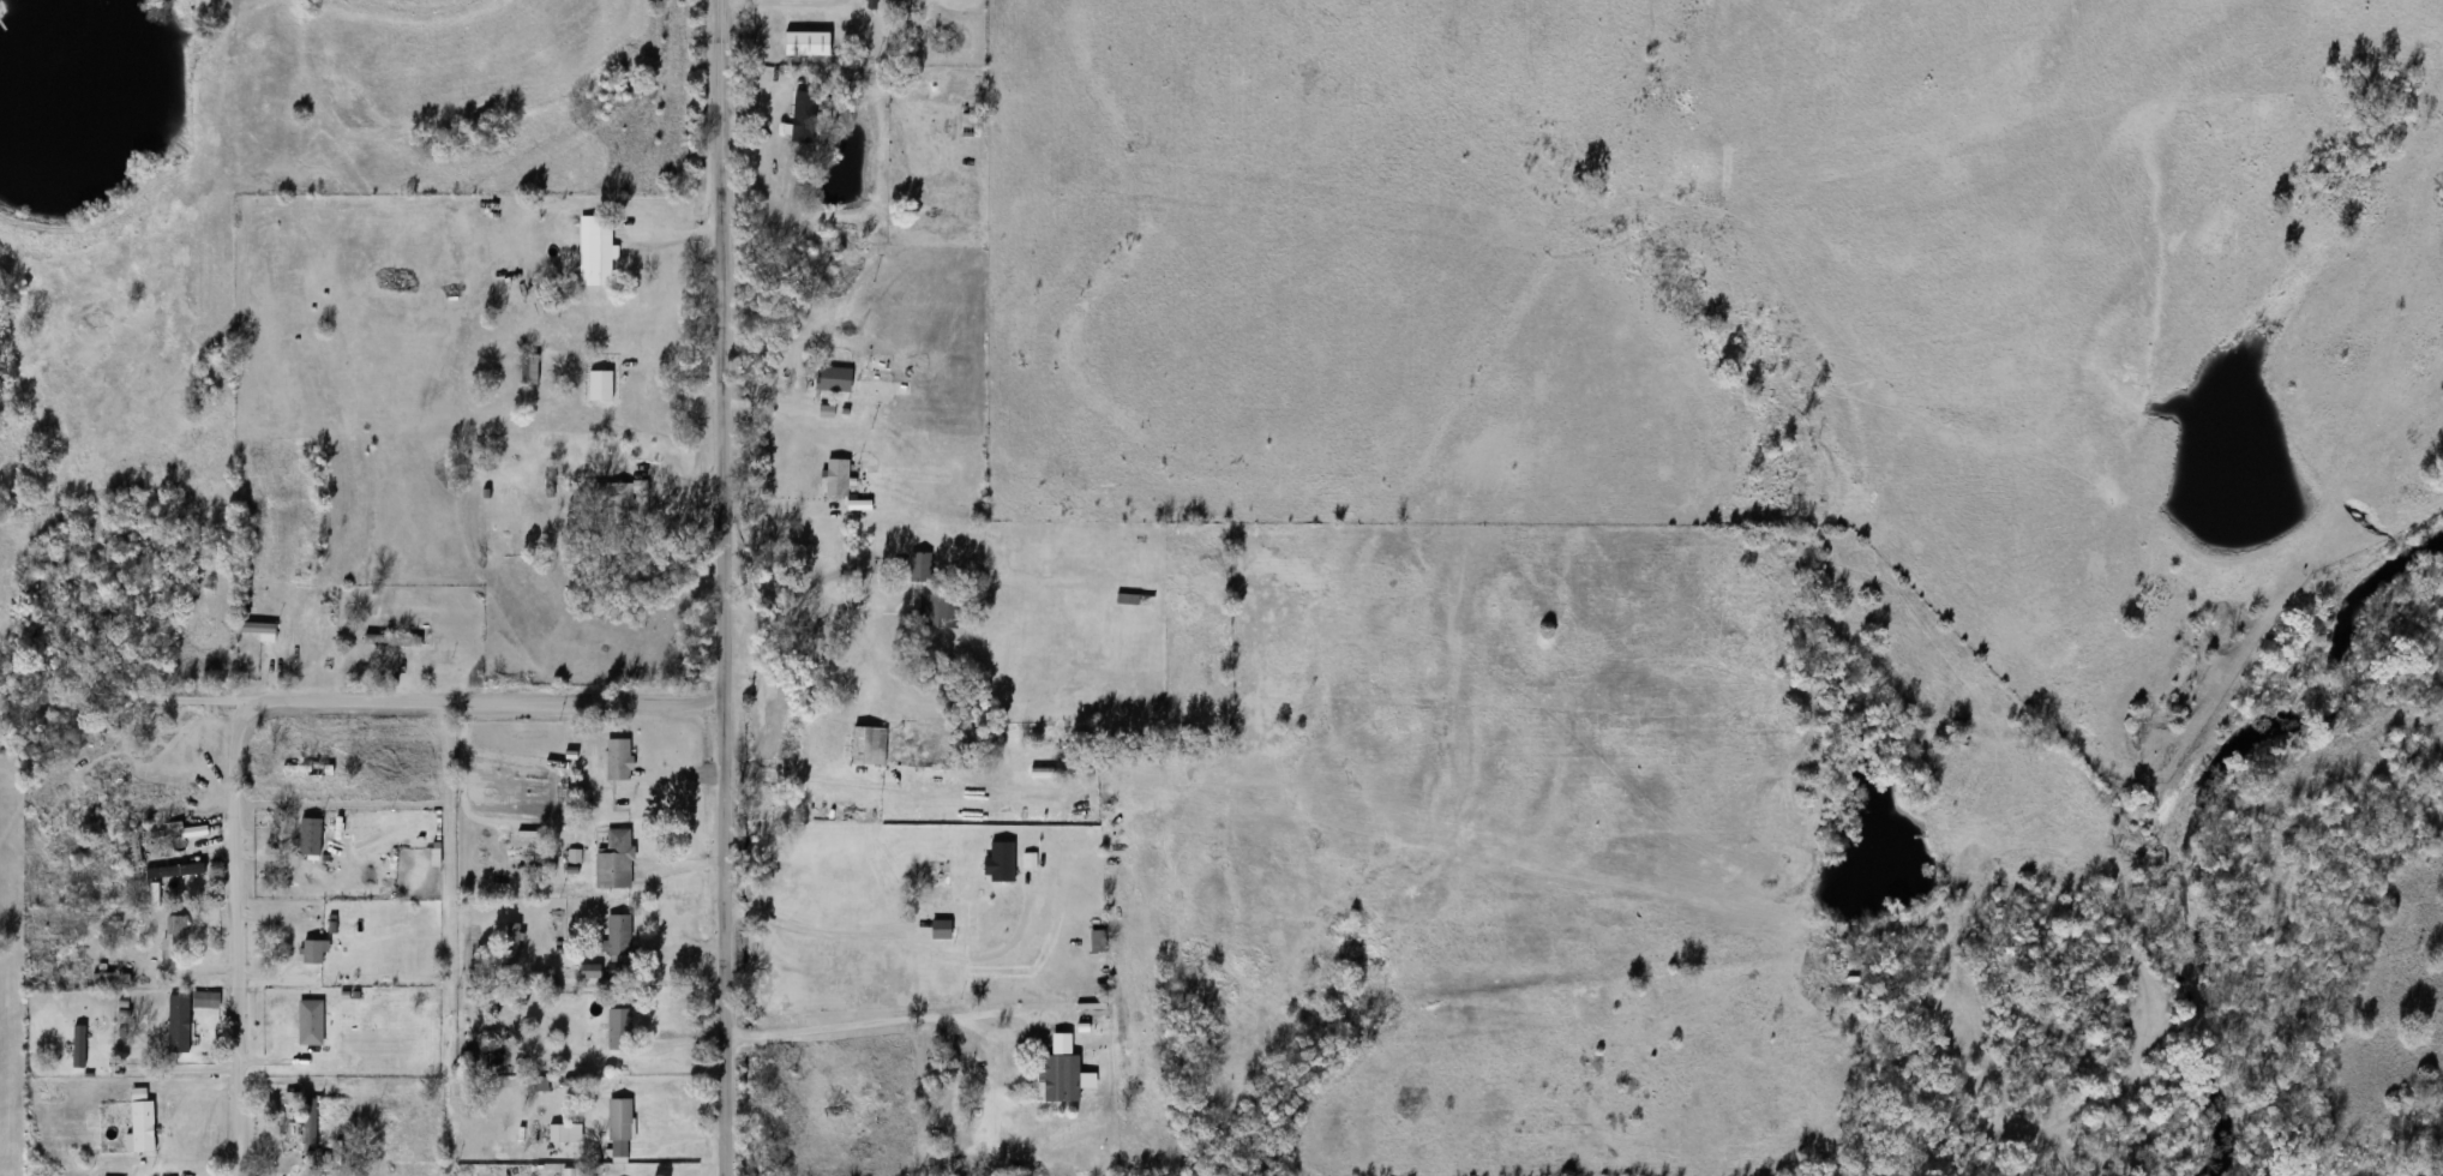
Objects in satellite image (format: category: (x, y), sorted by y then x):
road: (792, 6)
building: (805, 118)
building: (971, 126)
building: (601, 259)
building: (529, 367)
building: (834, 379)
building: (838, 478)
building: (614, 502)
building: (920, 568)
road: (724, 588)
building: (1133, 599)
building: (930, 610)
building: (260, 630)
building: (392, 641)
road: (484, 697)
road: (121, 706)
building: (869, 745)
building: (619, 758)
building: (307, 769)
building: (311, 836)
building: (136, 857)
building: (614, 860)
building: (938, 886)
building: (176, 925)
building: (941, 929)
road: (823, 935)
road: (239, 937)
building: (1098, 941)
building: (512, 944)
building: (618, 946)
building: (312, 952)
road: (204, 966)
building: (595, 973)
building: (112, 978)
building: (49, 983)
building: (179, 1022)
building: (311, 1022)
road: (875, 1024)
building: (619, 1027)
building: (79, 1046)
building: (474, 1058)
building: (1012, 1122)
building: (310, 1124)
building: (143, 1126)
building: (619, 1127)

